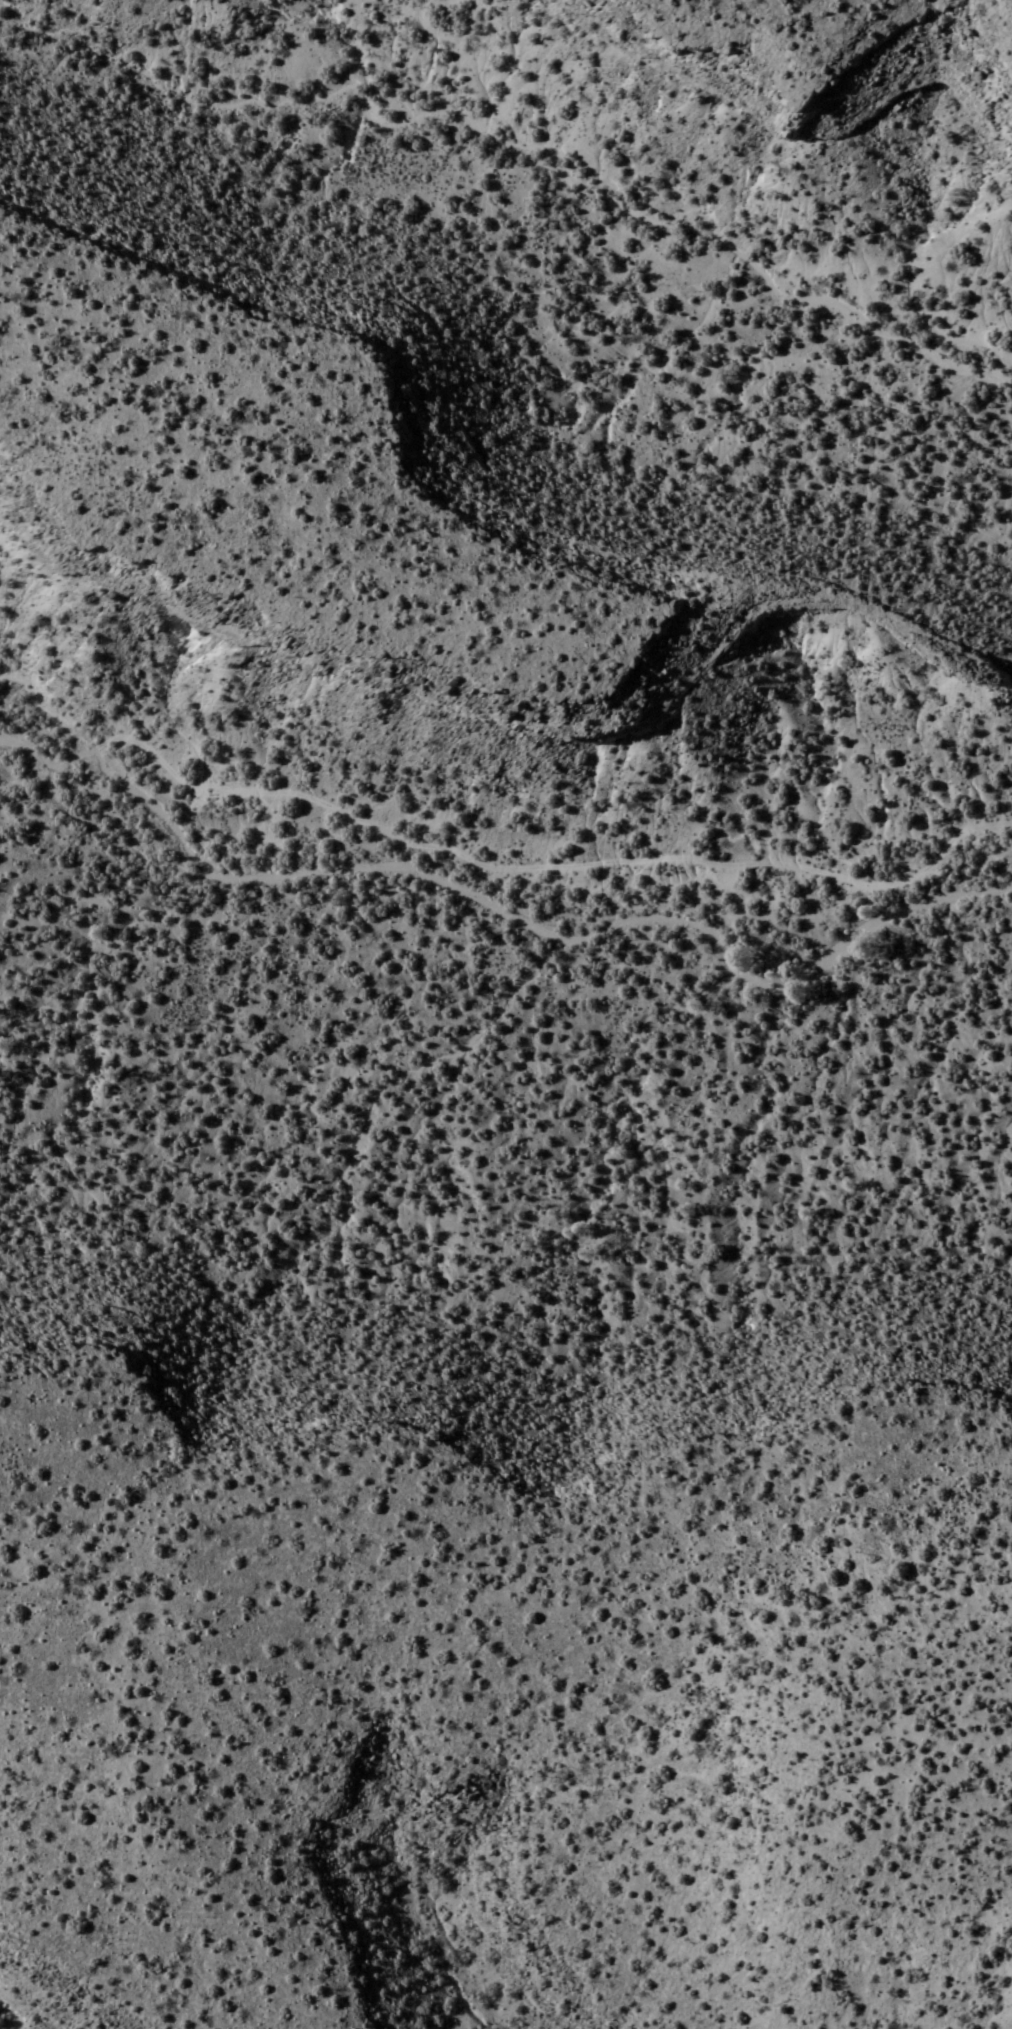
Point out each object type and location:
road: (1004, 305)
road: (497, 864)

